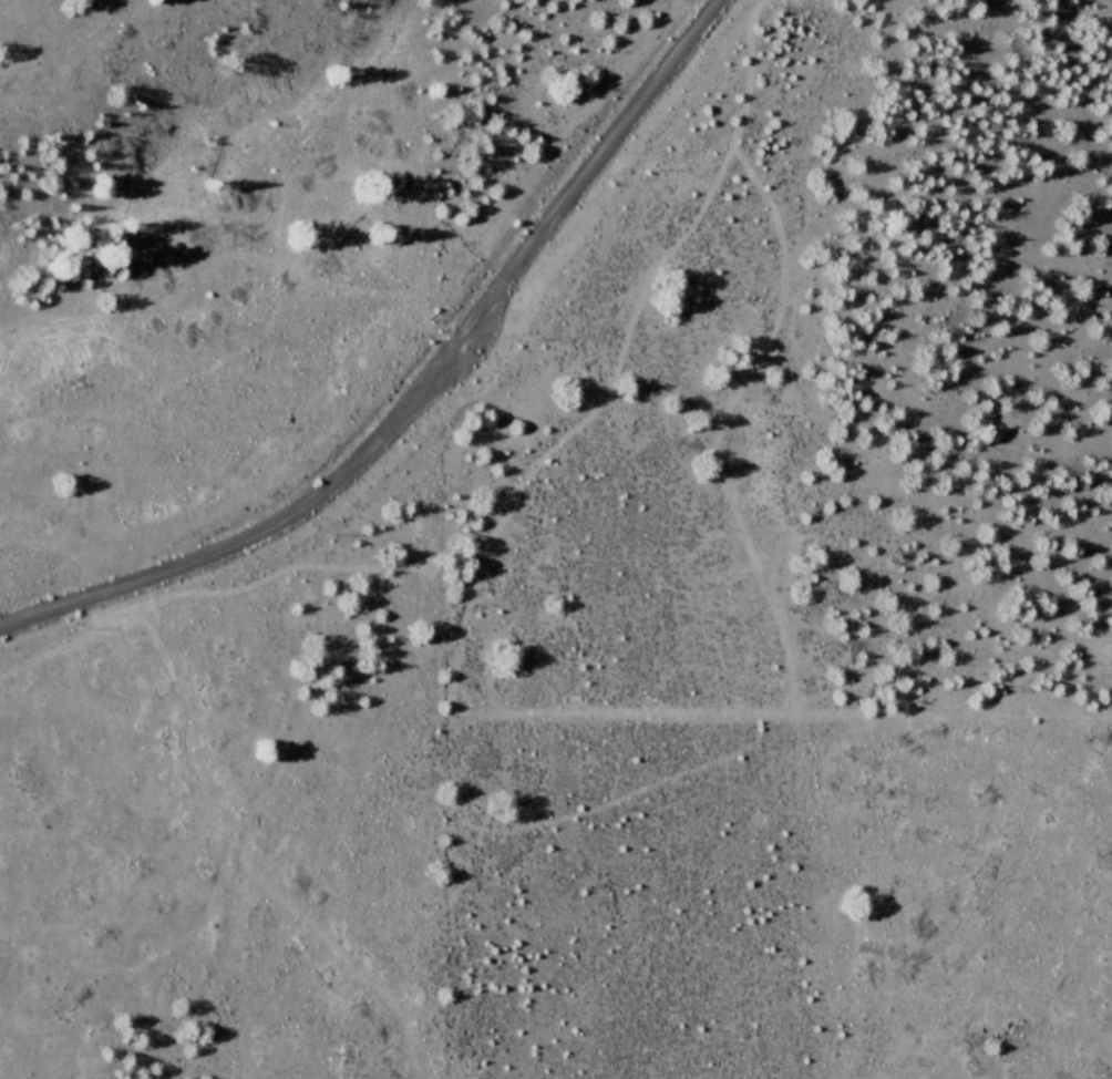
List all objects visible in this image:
road: (421, 399)

